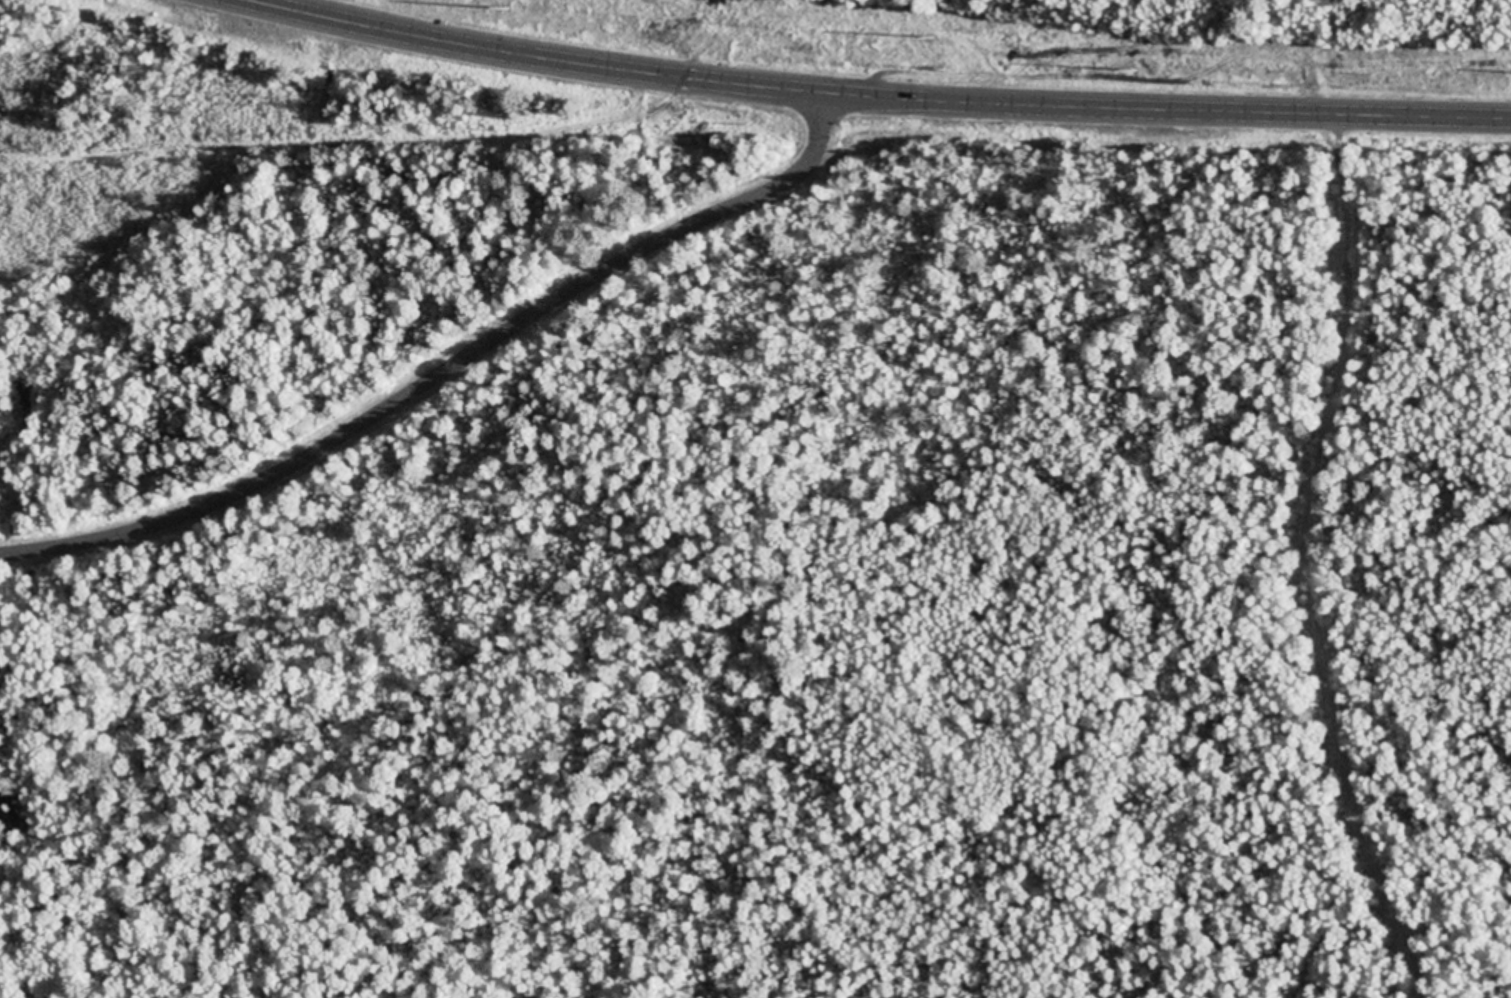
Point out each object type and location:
road: (881, 96)
road: (448, 367)

